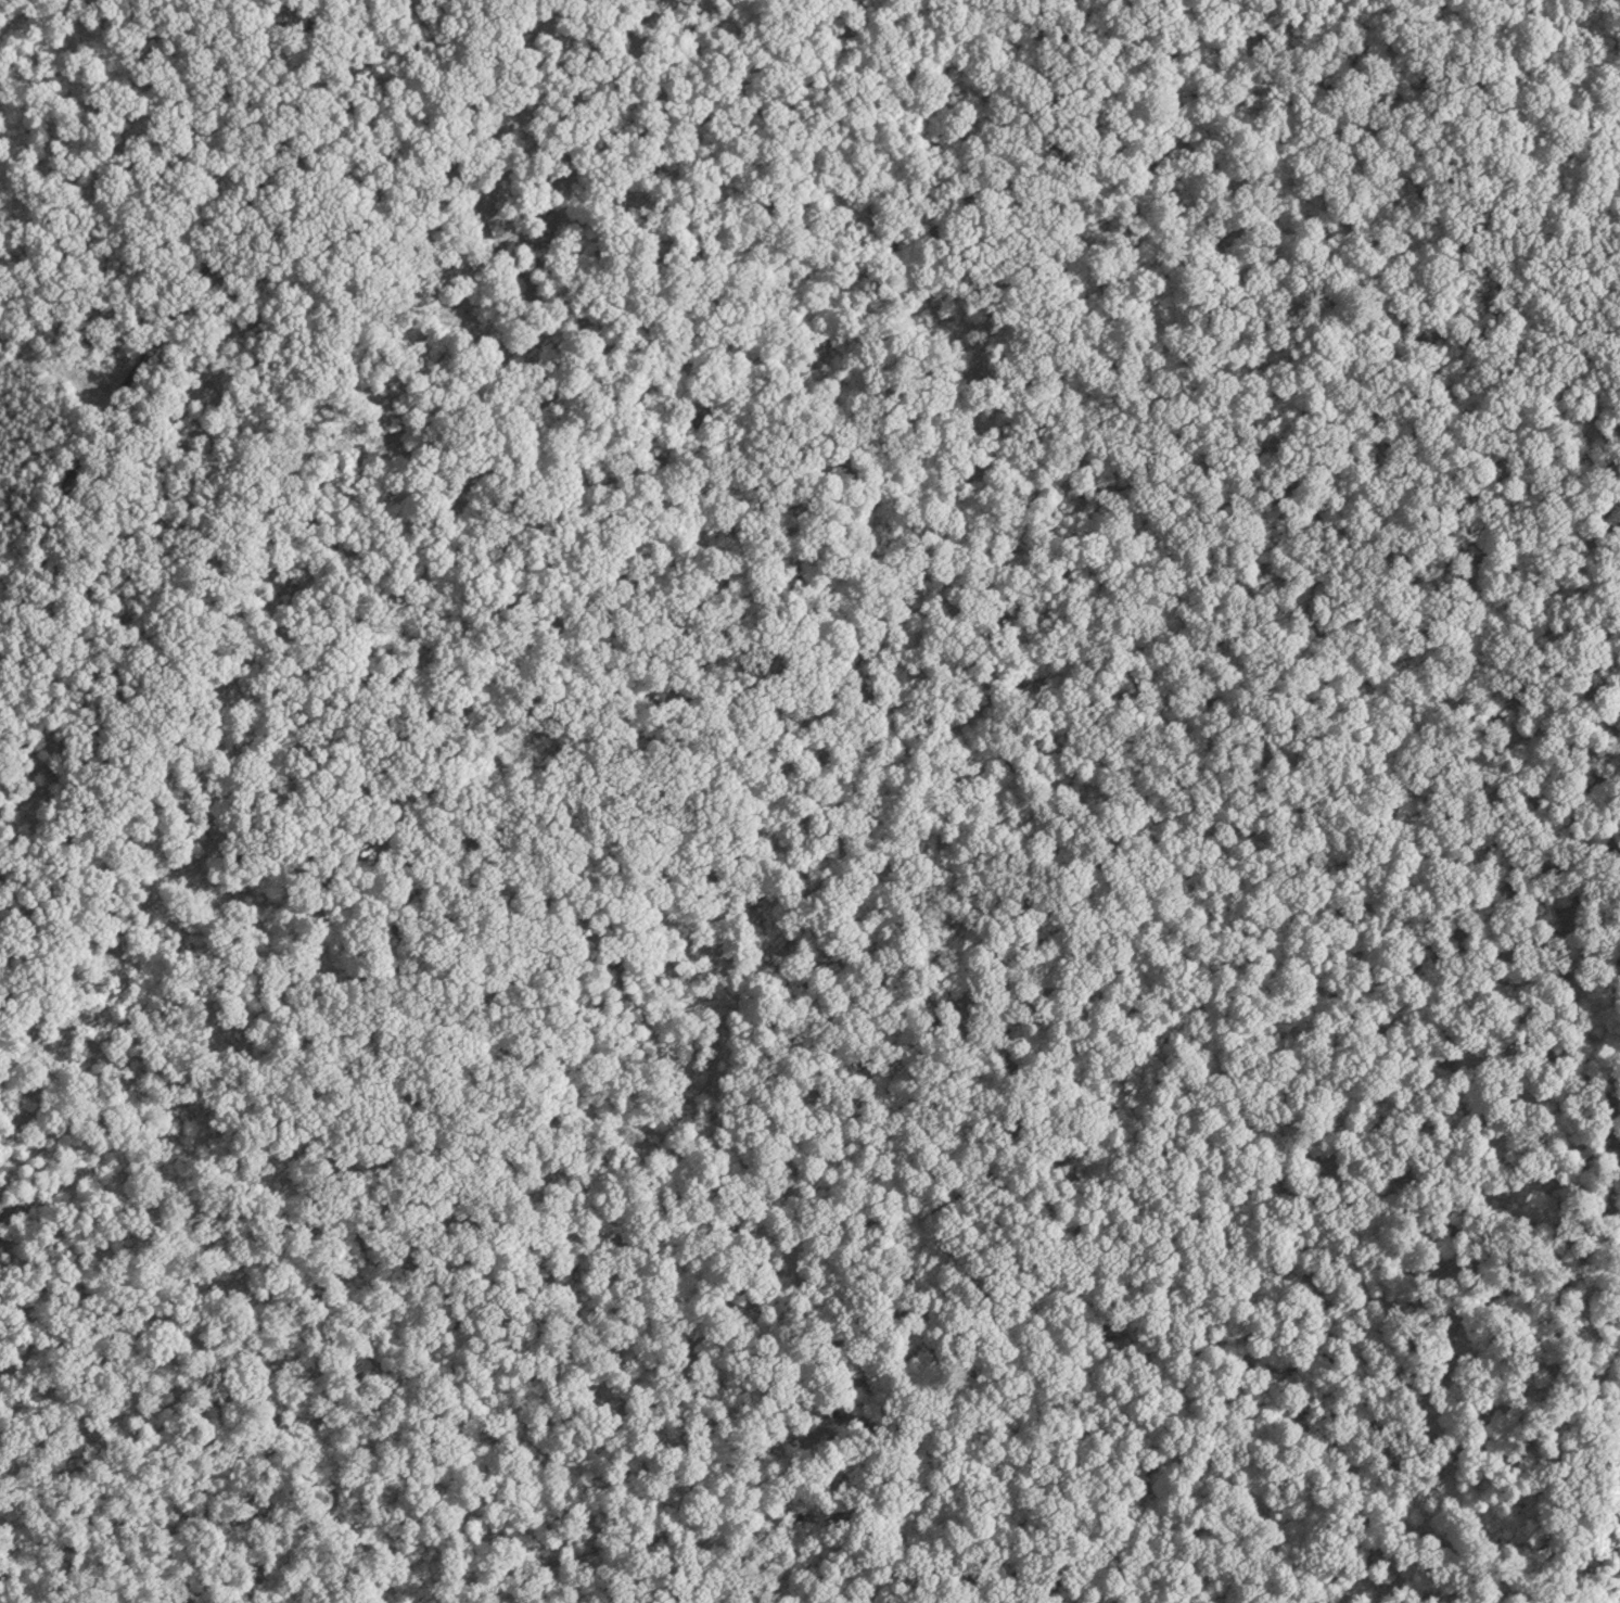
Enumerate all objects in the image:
road: (150, 307)

